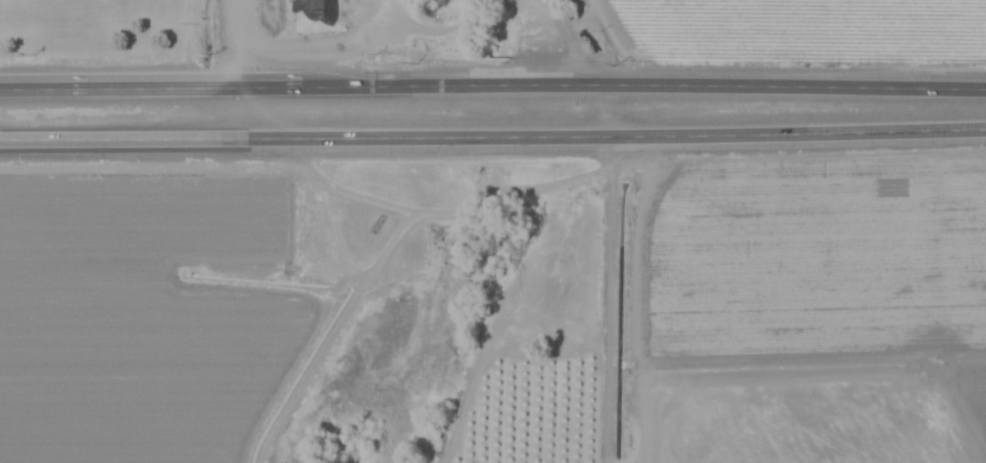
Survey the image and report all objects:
road: (230, 43)
road: (493, 83)
road: (797, 132)
road: (304, 138)
road: (608, 226)
crop: (807, 230)
crop: (137, 278)
road: (334, 297)

